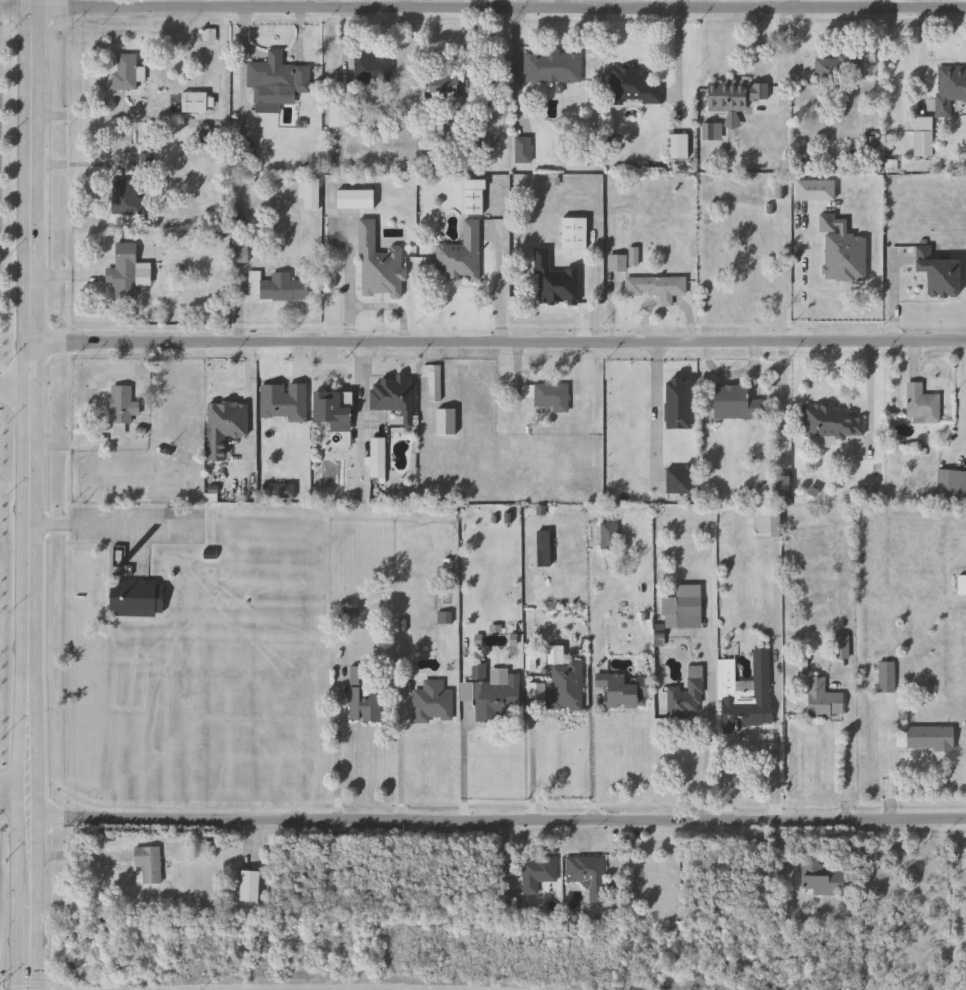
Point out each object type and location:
road: (768, 3)
road: (427, 4)
road: (499, 4)
road: (534, 4)
road: (682, 4)
road: (16, 7)
road: (499, 9)
building: (554, 65)
building: (375, 68)
building: (837, 69)
building: (128, 71)
building: (279, 79)
building: (452, 84)
building: (634, 85)
building: (949, 87)
building: (736, 94)
building: (200, 102)
road: (94, 114)
building: (342, 114)
building: (713, 131)
building: (209, 136)
building: (924, 136)
building: (872, 139)
building: (680, 146)
building: (524, 149)
building: (249, 152)
building: (329, 157)
building: (579, 158)
building: (147, 161)
road: (79, 166)
building: (893, 166)
building: (780, 189)
building: (816, 190)
building: (311, 192)
building: (129, 195)
building: (475, 197)
building: (358, 199)
building: (240, 220)
building: (575, 233)
building: (186, 239)
building: (242, 252)
building: (463, 254)
building: (635, 256)
building: (844, 256)
building: (617, 262)
building: (382, 264)
building: (126, 270)
building: (937, 272)
building: (557, 281)
building: (280, 286)
building: (656, 286)
road: (499, 341)
building: (433, 380)
road: (15, 389)
building: (392, 394)
building: (551, 396)
building: (734, 401)
building: (285, 402)
building: (677, 403)
building: (125, 404)
building: (921, 404)
building: (331, 408)
building: (831, 420)
building: (445, 421)
building: (226, 426)
building: (376, 456)
building: (678, 479)
building: (951, 484)
building: (780, 487)
building: (279, 490)
road: (31, 494)
building: (766, 520)
road: (110, 524)
building: (608, 535)
building: (543, 548)
building: (446, 565)
building: (961, 583)
building: (140, 597)
building: (688, 611)
building: (446, 618)
building: (843, 647)
building: (480, 671)
building: (886, 676)
building: (630, 679)
building: (566, 685)
road: (779, 692)
building: (745, 693)
building: (364, 695)
building: (686, 696)
building: (497, 699)
building: (822, 699)
building: (432, 702)
road: (599, 709)
road: (712, 727)
building: (928, 737)
road: (754, 744)
road: (849, 755)
road: (466, 762)
road: (534, 766)
road: (340, 767)
road: (404, 768)
road: (15, 789)
road: (498, 823)
building: (151, 862)
building: (537, 871)
building: (587, 874)
building: (820, 877)
building: (247, 885)

